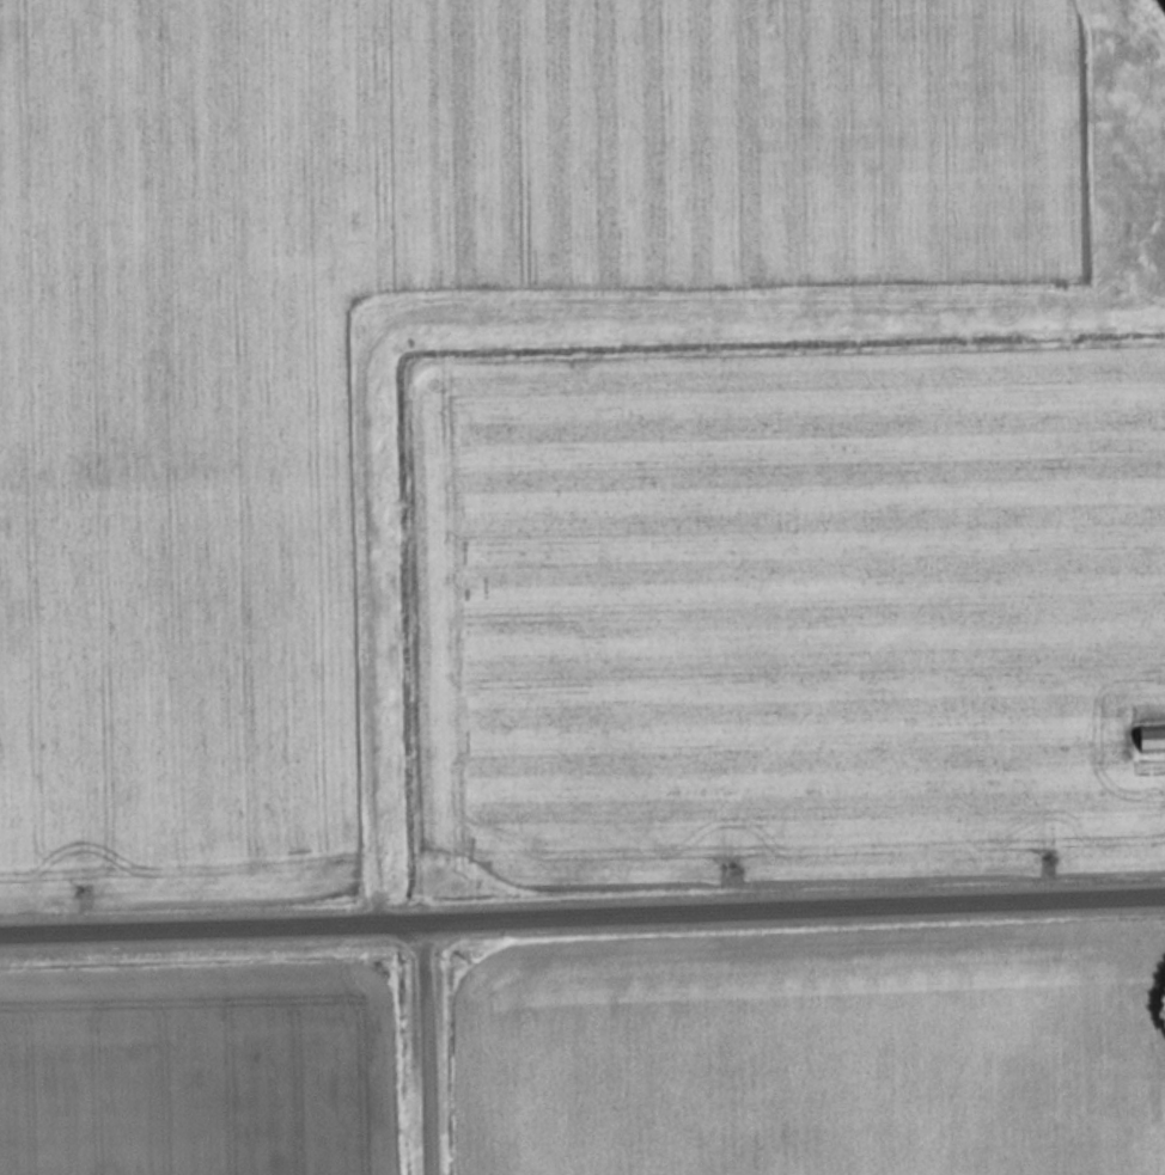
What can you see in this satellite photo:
building: (1151, 739)
road: (582, 918)
road: (431, 1049)

